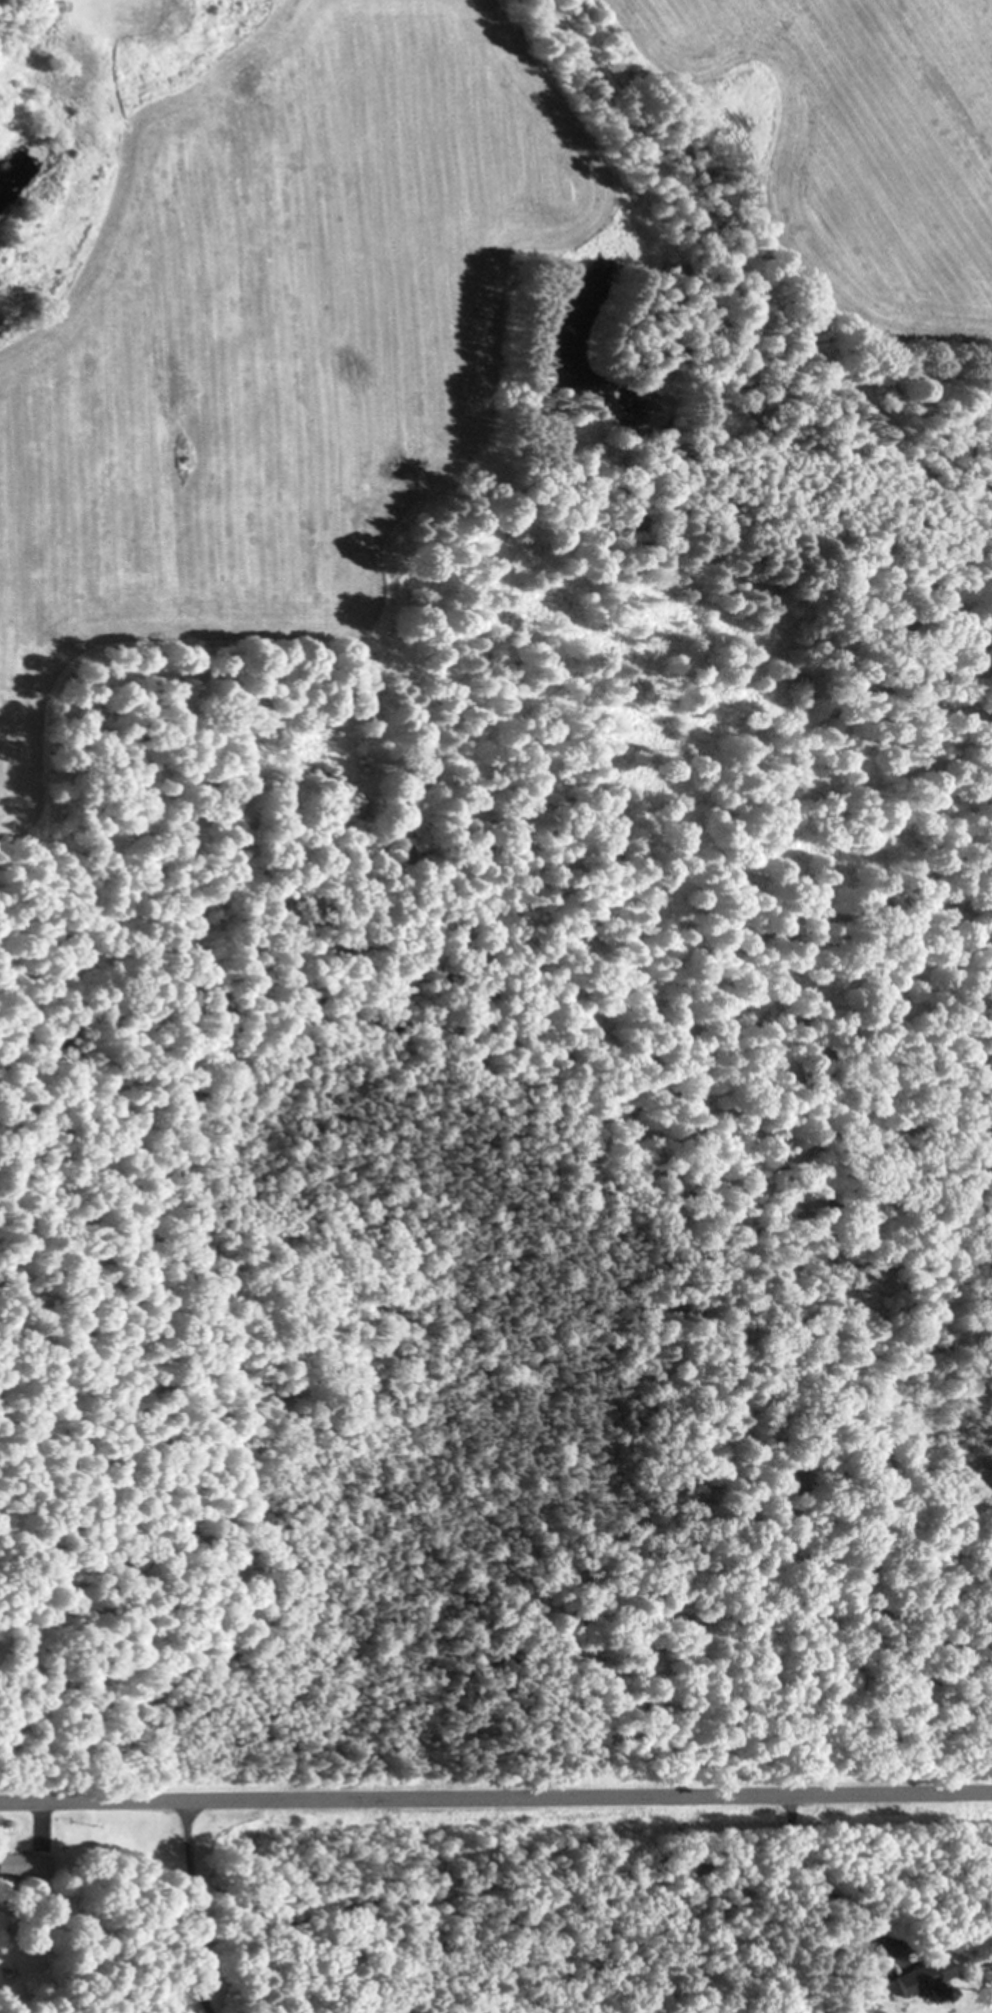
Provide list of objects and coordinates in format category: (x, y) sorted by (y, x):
building: (48, 5)
road: (743, 274)
road: (496, 1795)
road: (44, 1817)
building: (26, 1865)
road: (816, 1881)
road: (201, 1904)
building: (922, 1977)
building: (872, 1981)

